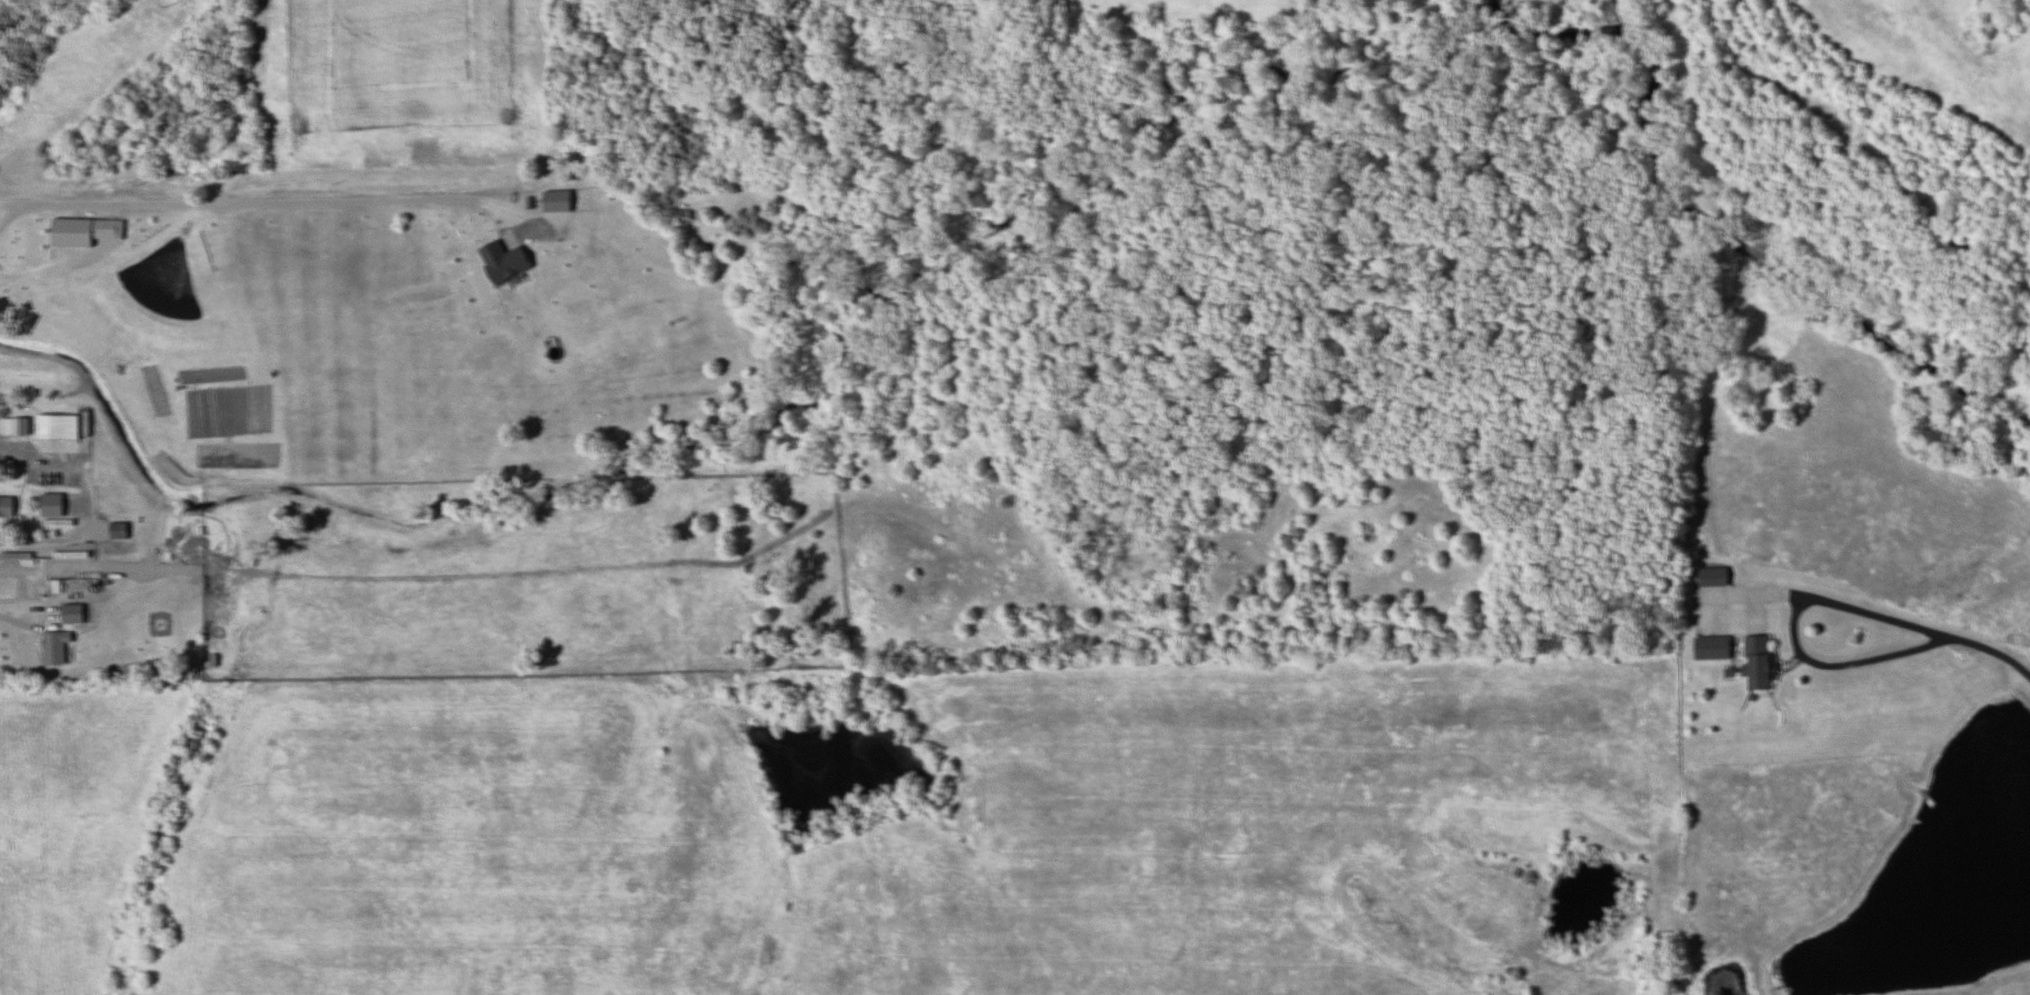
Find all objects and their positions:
building: (12, 425)
building: (55, 426)
building: (48, 505)
building: (4, 506)
road: (1816, 594)
building: (66, 613)
building: (50, 648)
building: (1707, 648)
road: (1992, 648)
building: (1752, 662)

